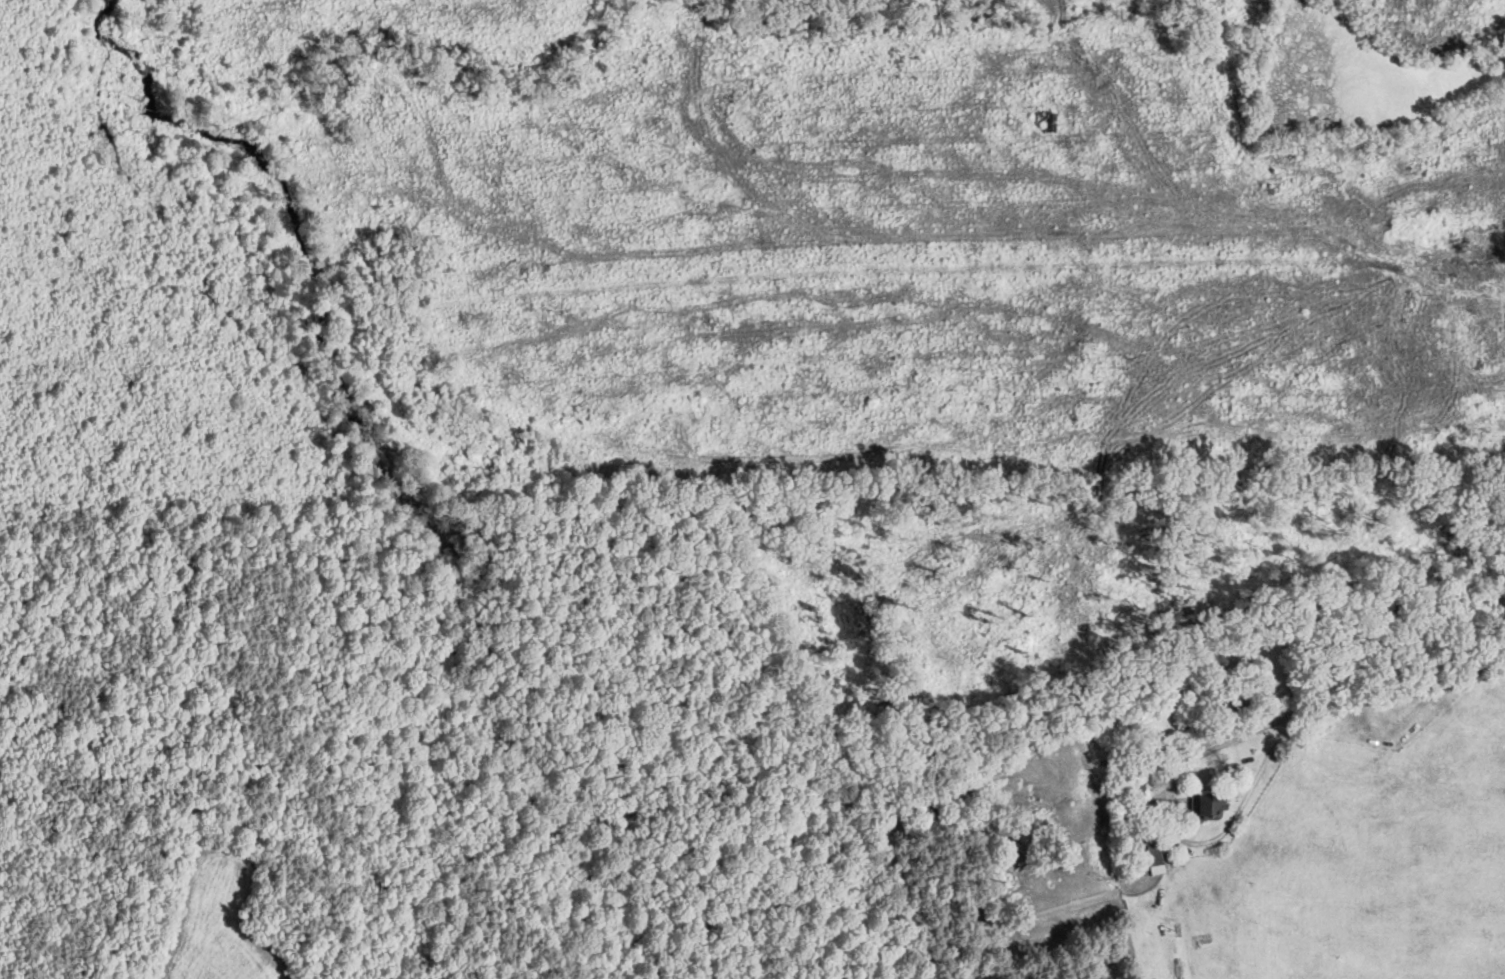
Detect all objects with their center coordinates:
building: (1214, 807)

